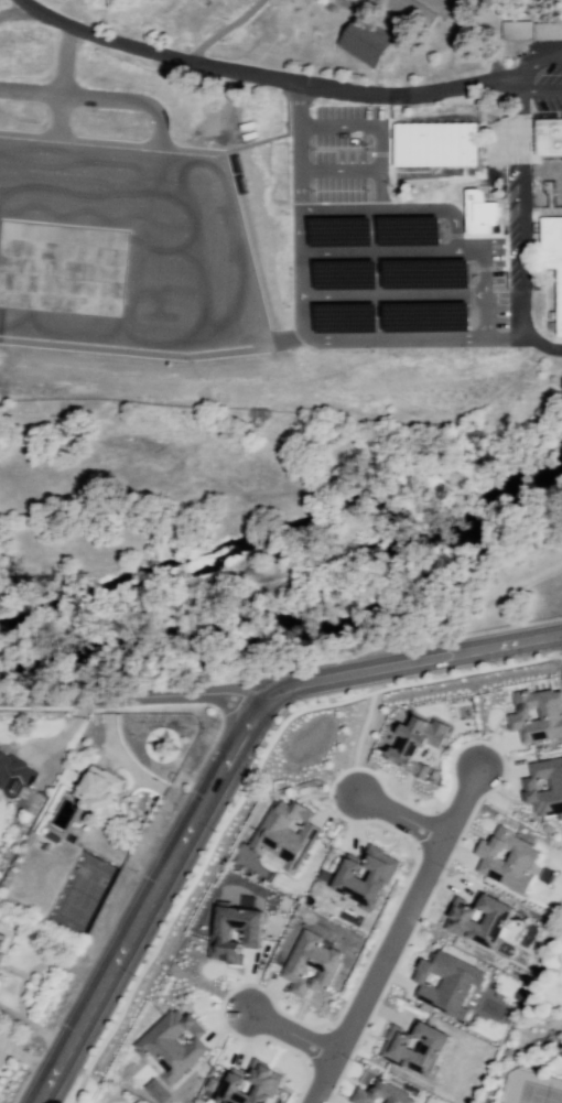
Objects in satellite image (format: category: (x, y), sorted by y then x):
building: (528, 28)
road: (218, 32)
building: (361, 41)
parking lot: (536, 71)
road: (257, 73)
road: (331, 127)
building: (549, 133)
building: (434, 143)
road: (378, 147)
road: (296, 166)
road: (332, 170)
road: (423, 208)
building: (484, 215)
parking lot: (167, 216)
road: (521, 225)
road: (380, 252)
building: (551, 252)
road: (299, 293)
road: (391, 295)
road: (412, 339)
road: (413, 662)
road: (289, 664)
road: (132, 701)
building: (536, 714)
building: (414, 743)
building: (17, 768)
road: (244, 783)
building: (543, 786)
building: (98, 796)
road: (396, 815)
building: (284, 832)
building: (505, 858)
park: (207, 865)
building: (364, 876)
road: (152, 897)
building: (478, 920)
building: (233, 932)
road: (390, 934)
building: (2, 943)
building: (310, 964)
road: (22, 980)
building: (445, 983)
road: (288, 1032)
building: (172, 1042)
building: (413, 1047)
building: (560, 1053)
building: (248, 1085)
building: (381, 1094)

